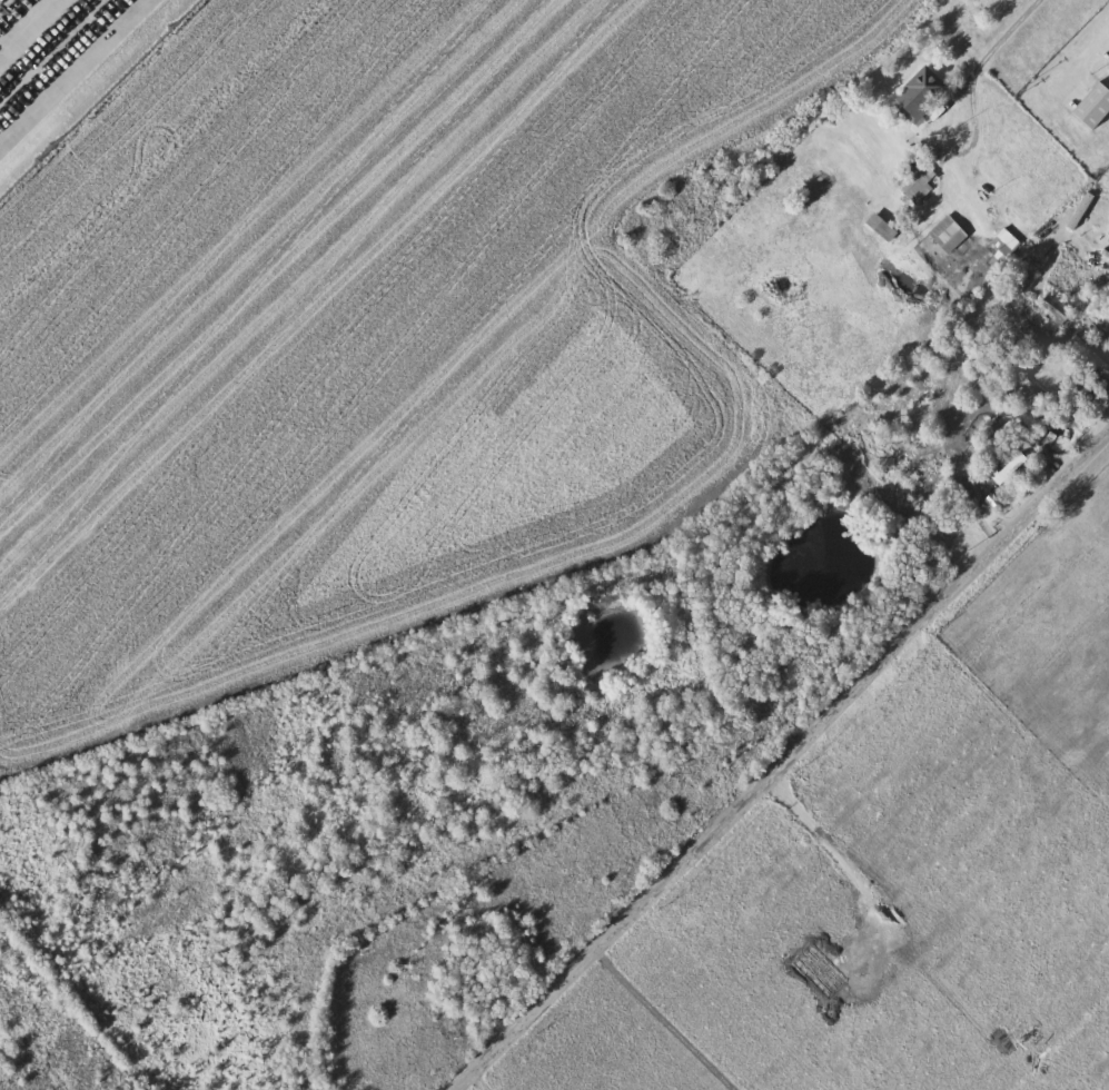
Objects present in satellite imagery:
road: (1001, 40)
road: (1090, 48)
road: (70, 70)
building: (920, 95)
building: (1095, 107)
road: (951, 149)
road: (961, 184)
building: (919, 185)
building: (1080, 210)
building: (881, 227)
building: (948, 234)
building: (1006, 244)
road: (1092, 268)
building: (1057, 309)
road: (992, 493)
road: (782, 761)

